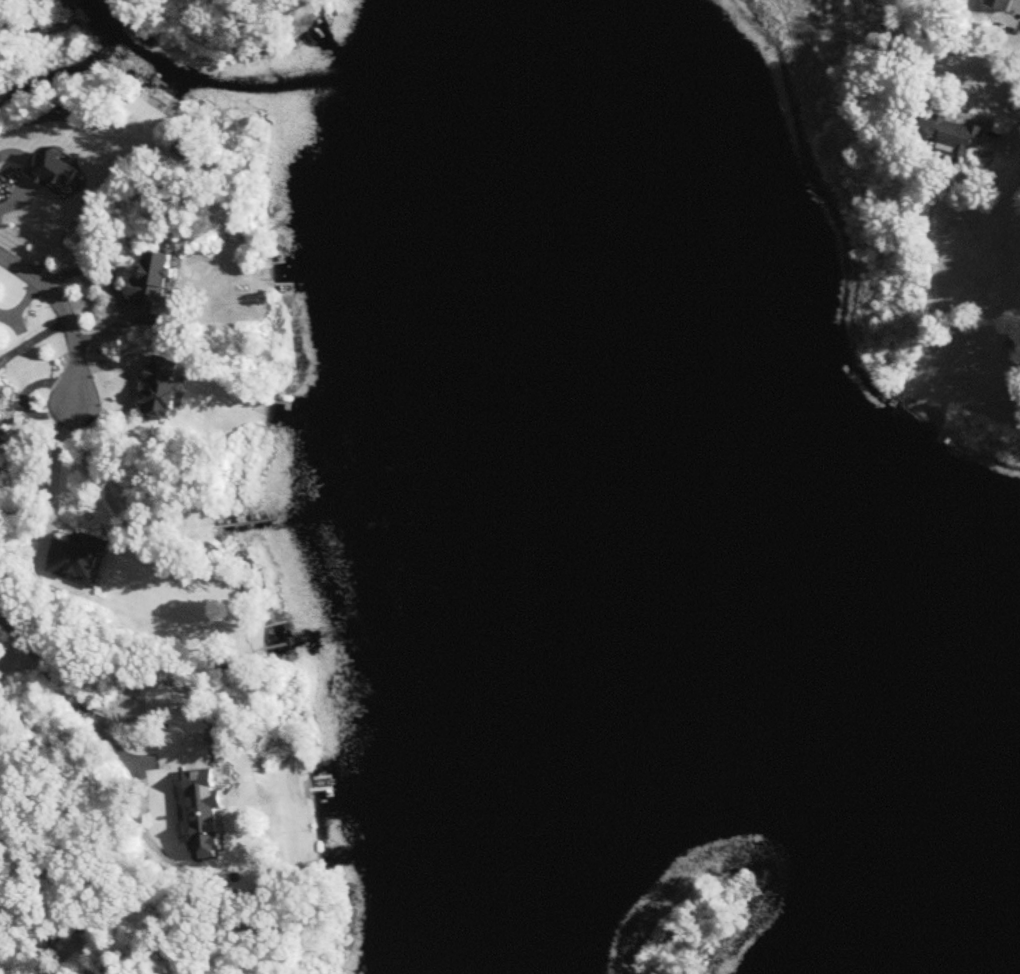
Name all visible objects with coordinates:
building: (1000, 4)
road: (1019, 118)
building: (949, 135)
building: (186, 149)
building: (152, 278)
road: (118, 286)
road: (65, 317)
road: (986, 344)
road: (133, 386)
building: (160, 388)
building: (1, 397)
building: (2, 431)
road: (53, 462)
building: (78, 561)
building: (225, 662)
road: (78, 702)
building: (208, 803)

